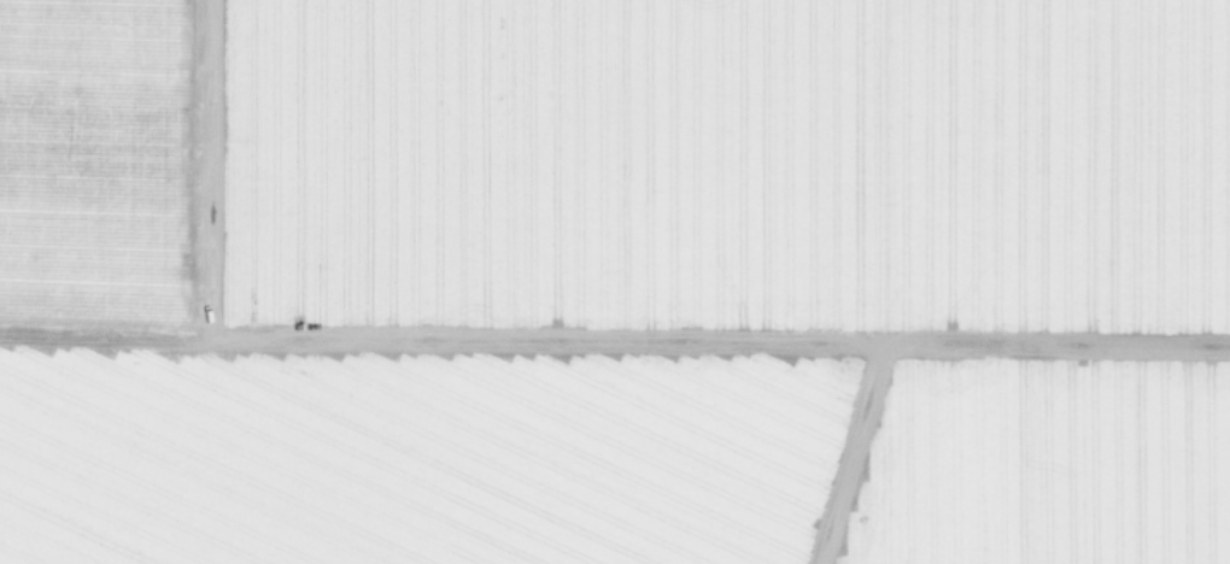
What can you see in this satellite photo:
crop: (615, 282)

